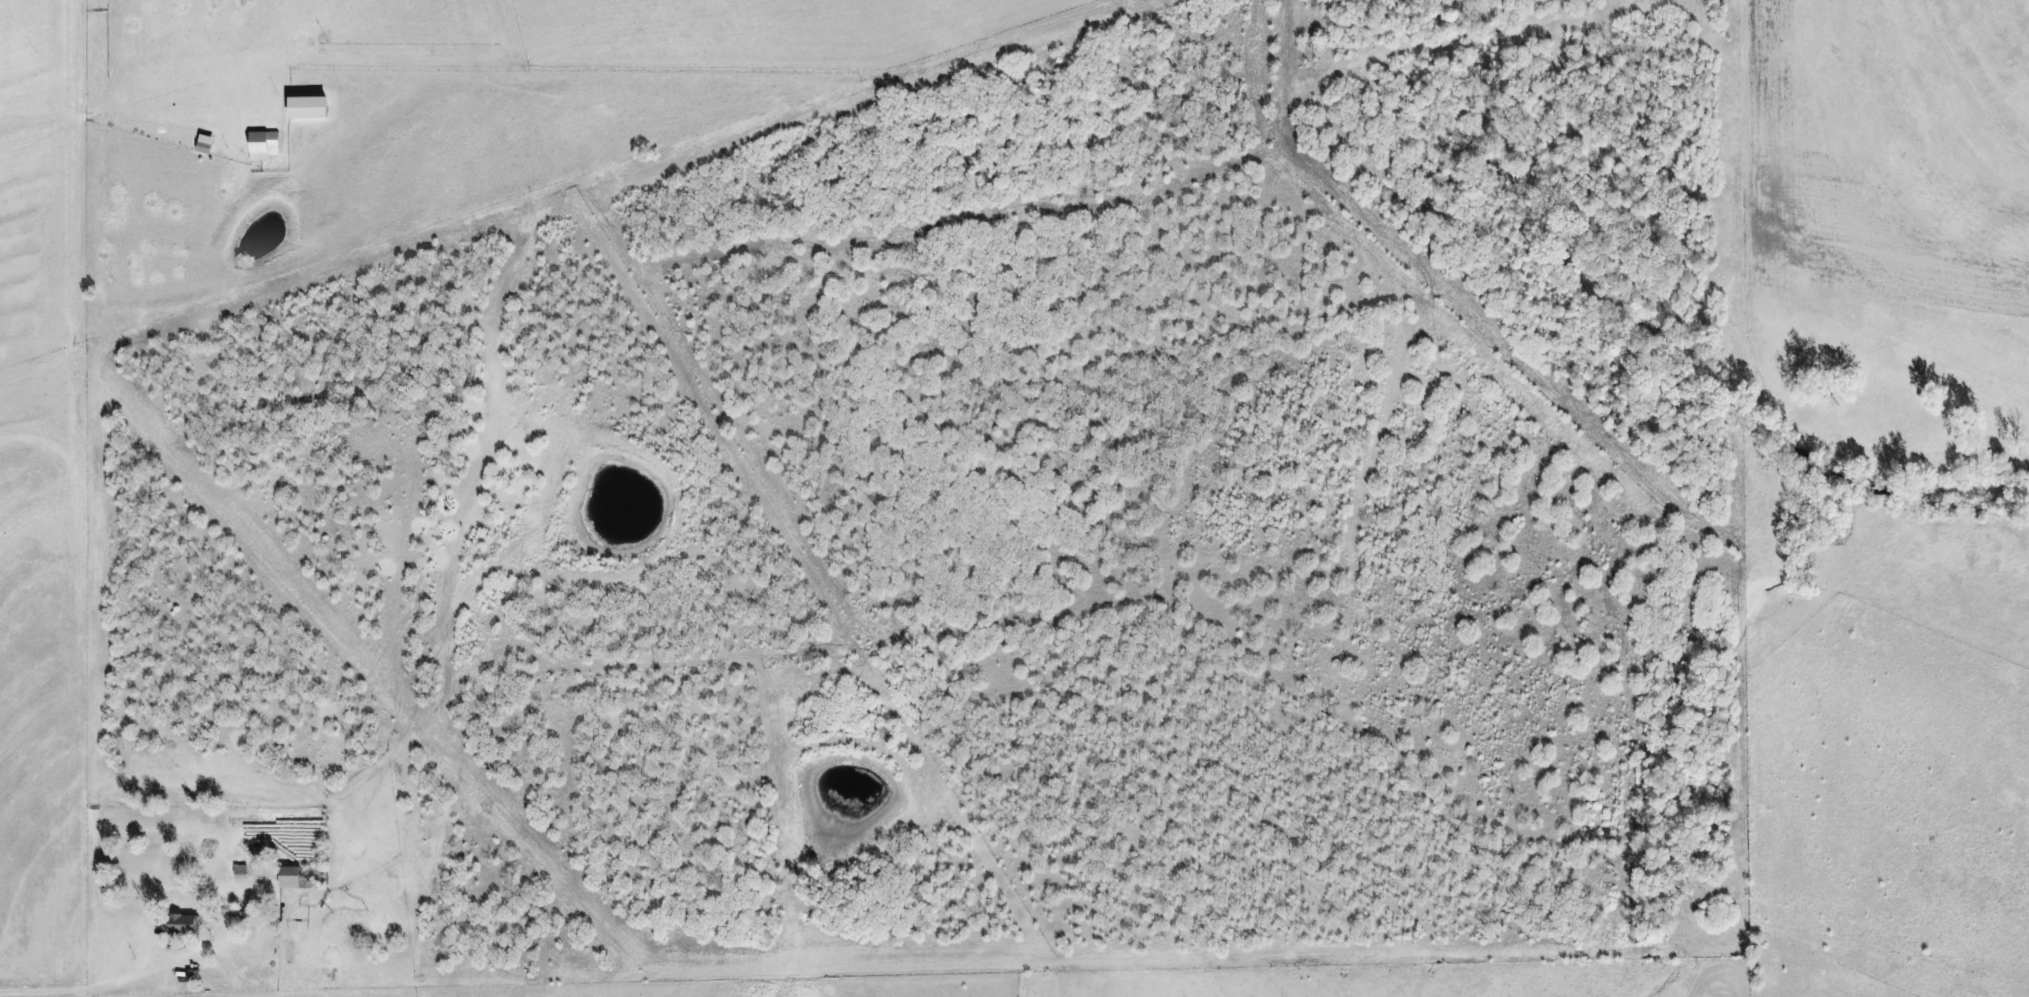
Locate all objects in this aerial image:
building: (308, 106)
building: (263, 145)
building: (289, 877)
building: (183, 925)

